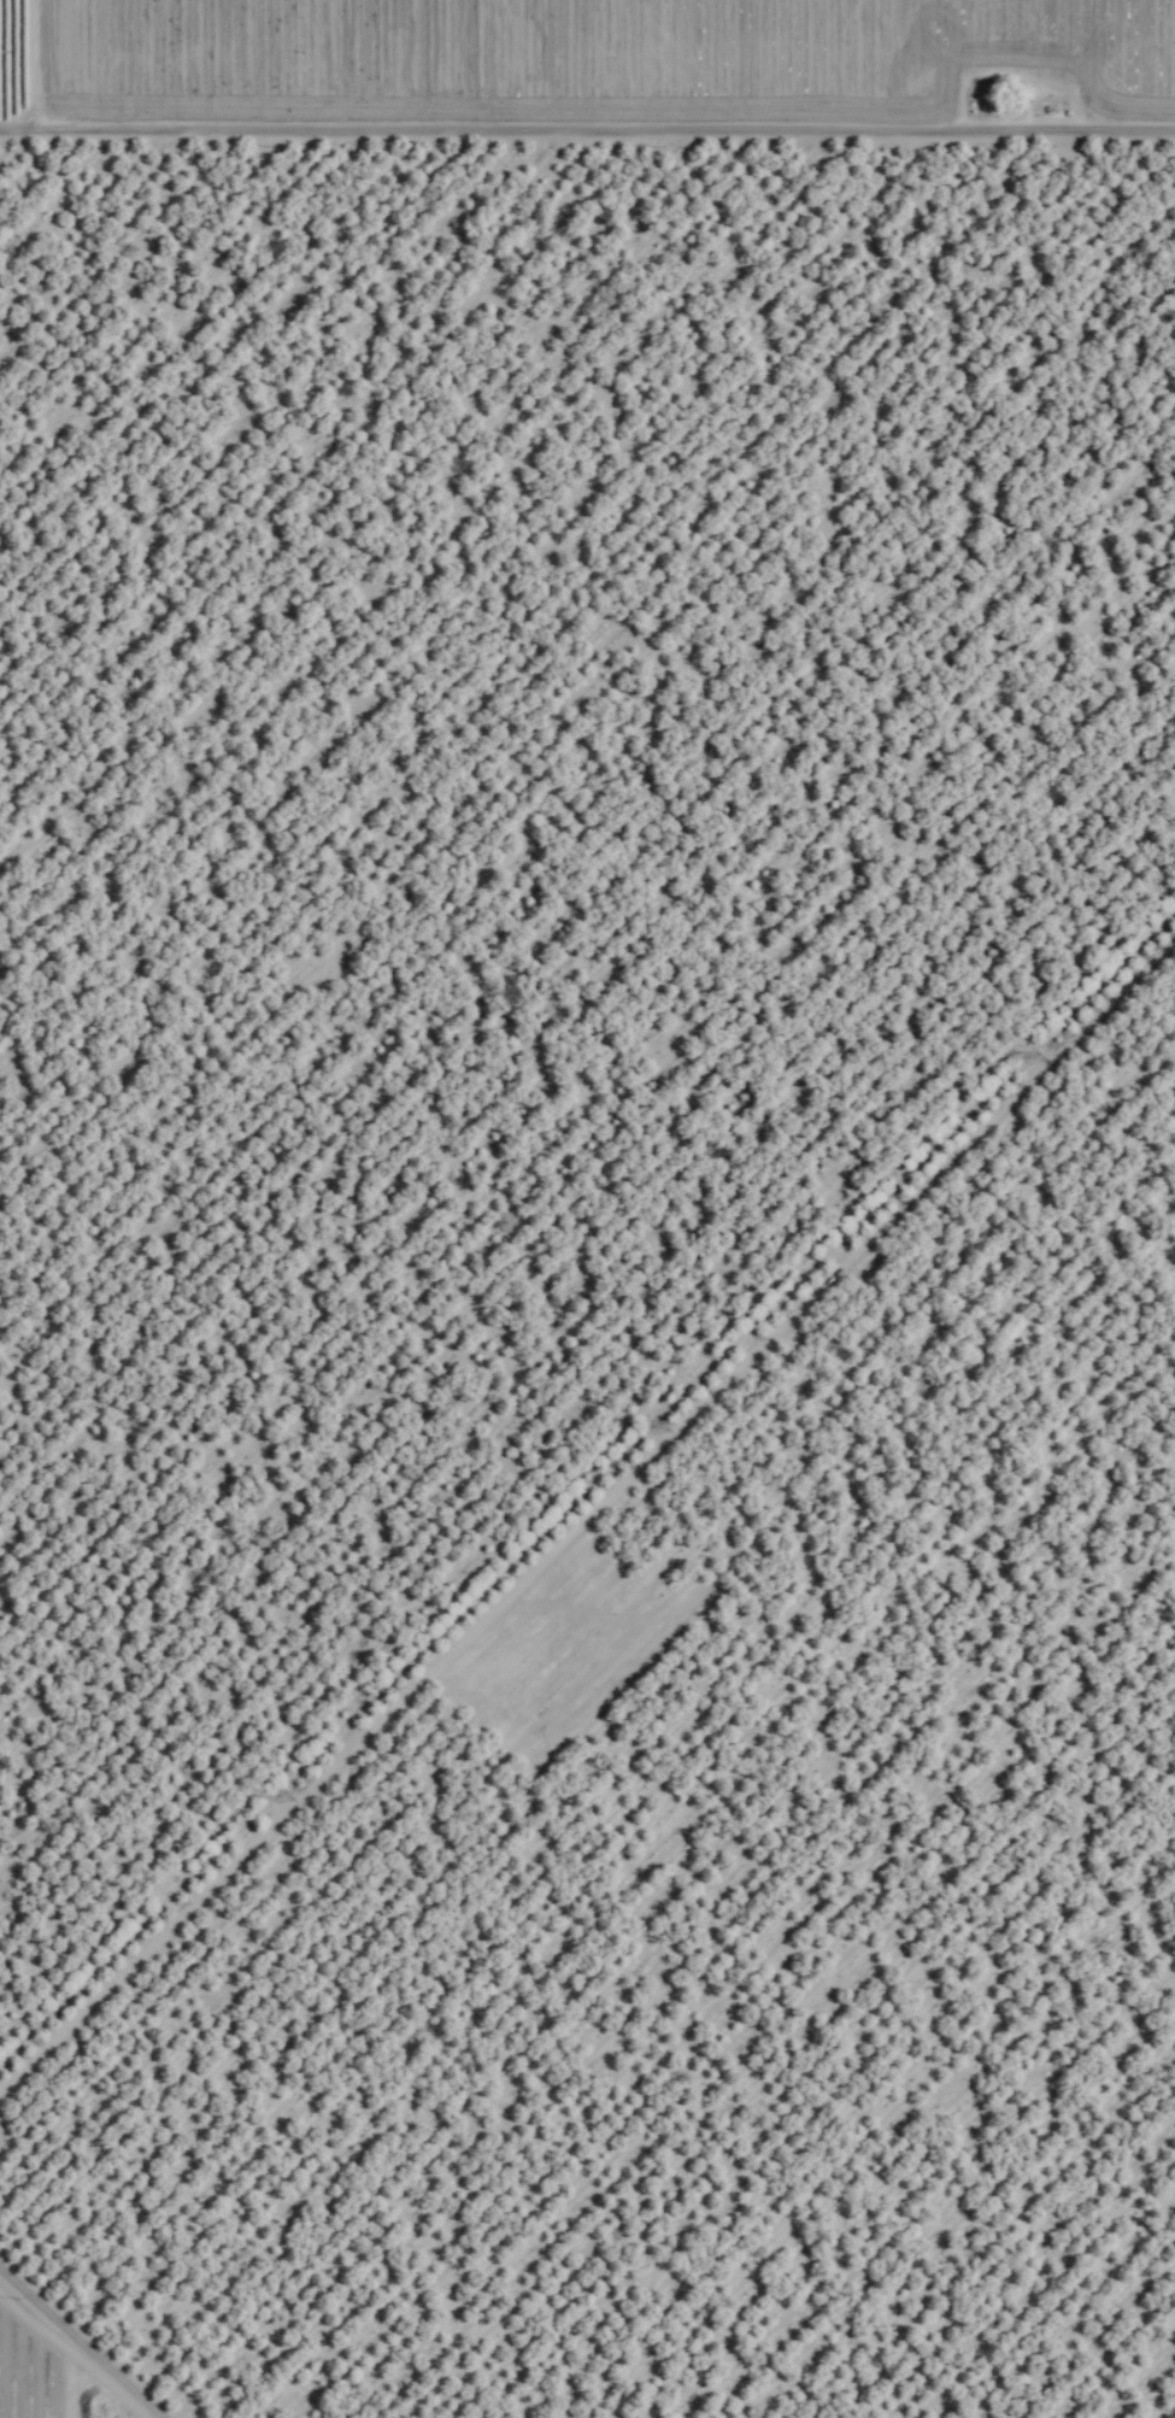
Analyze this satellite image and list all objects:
crop: (589, 71)
road: (587, 86)
power tower: (1034, 1054)
power tower: (653, 1418)
power tower: (281, 1796)

